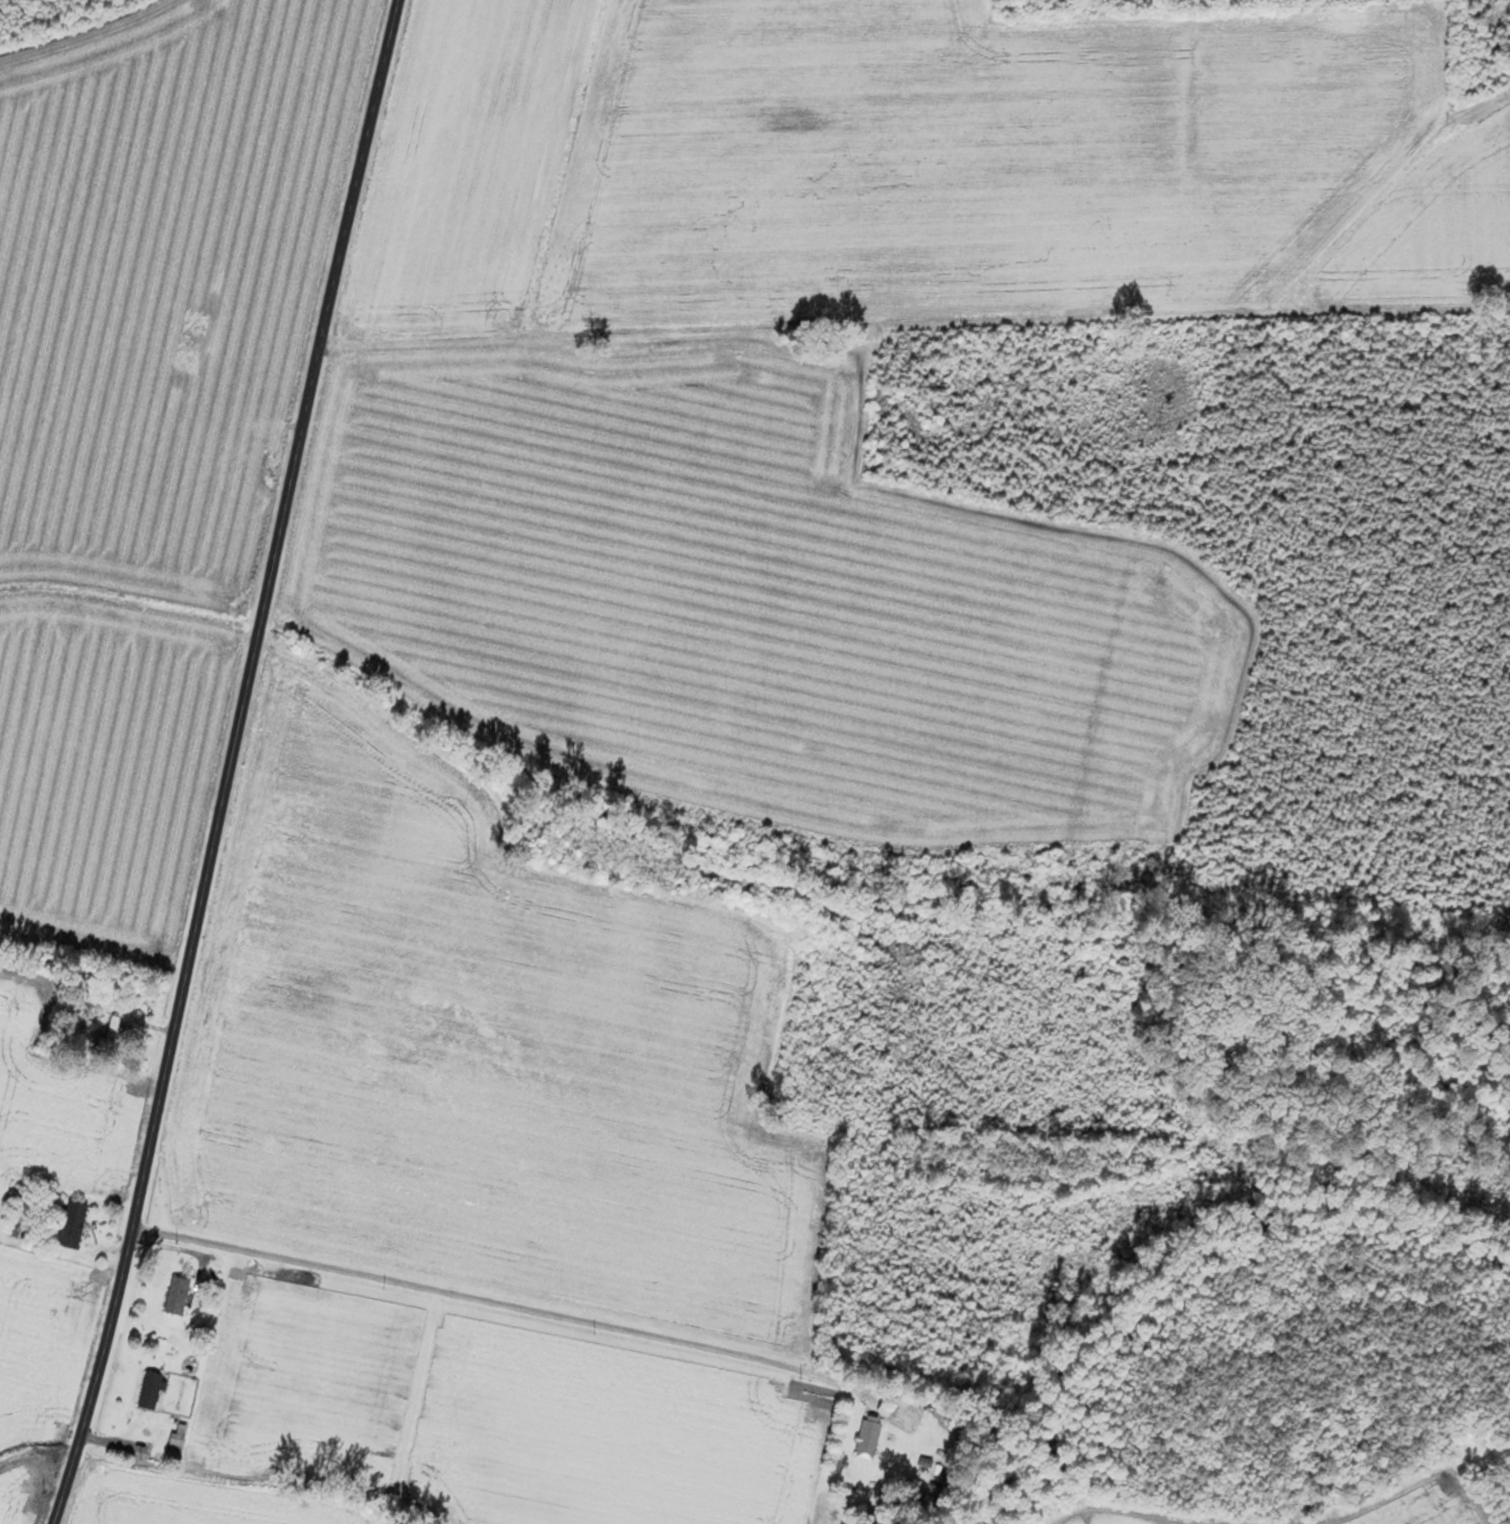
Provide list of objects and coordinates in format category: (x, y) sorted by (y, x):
road: (231, 763)
building: (76, 995)
building: (2, 1032)
building: (109, 1035)
building: (72, 1226)
building: (176, 1296)
road: (494, 1301)
building: (149, 1392)
building: (866, 1440)
building: (176, 1443)

